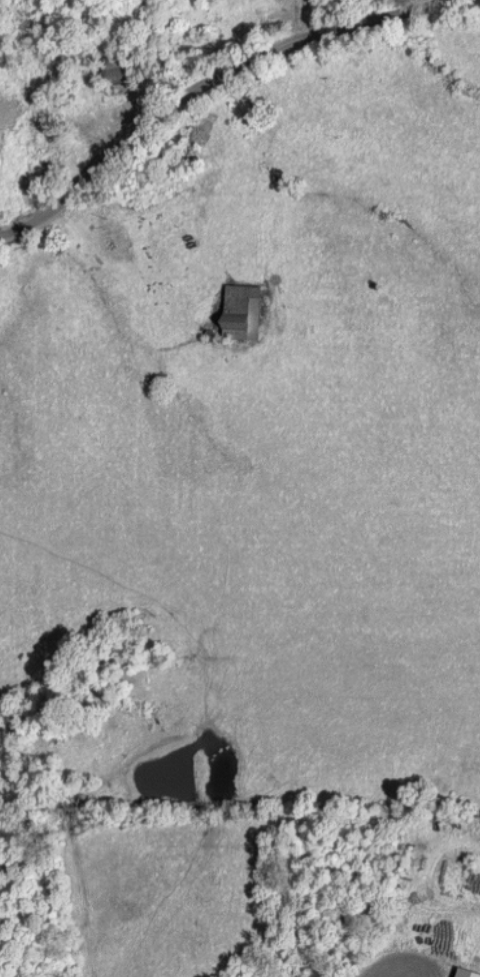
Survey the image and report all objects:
road: (185, 90)

